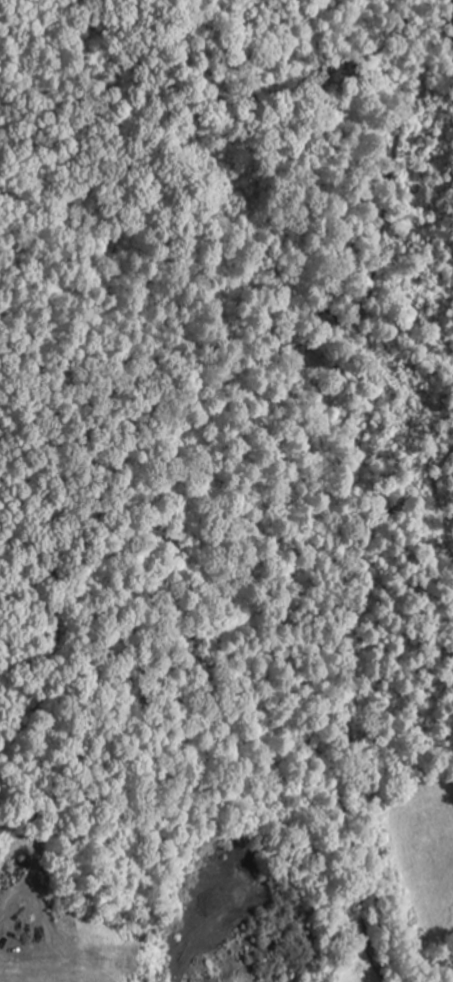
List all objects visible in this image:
road: (311, 858)

